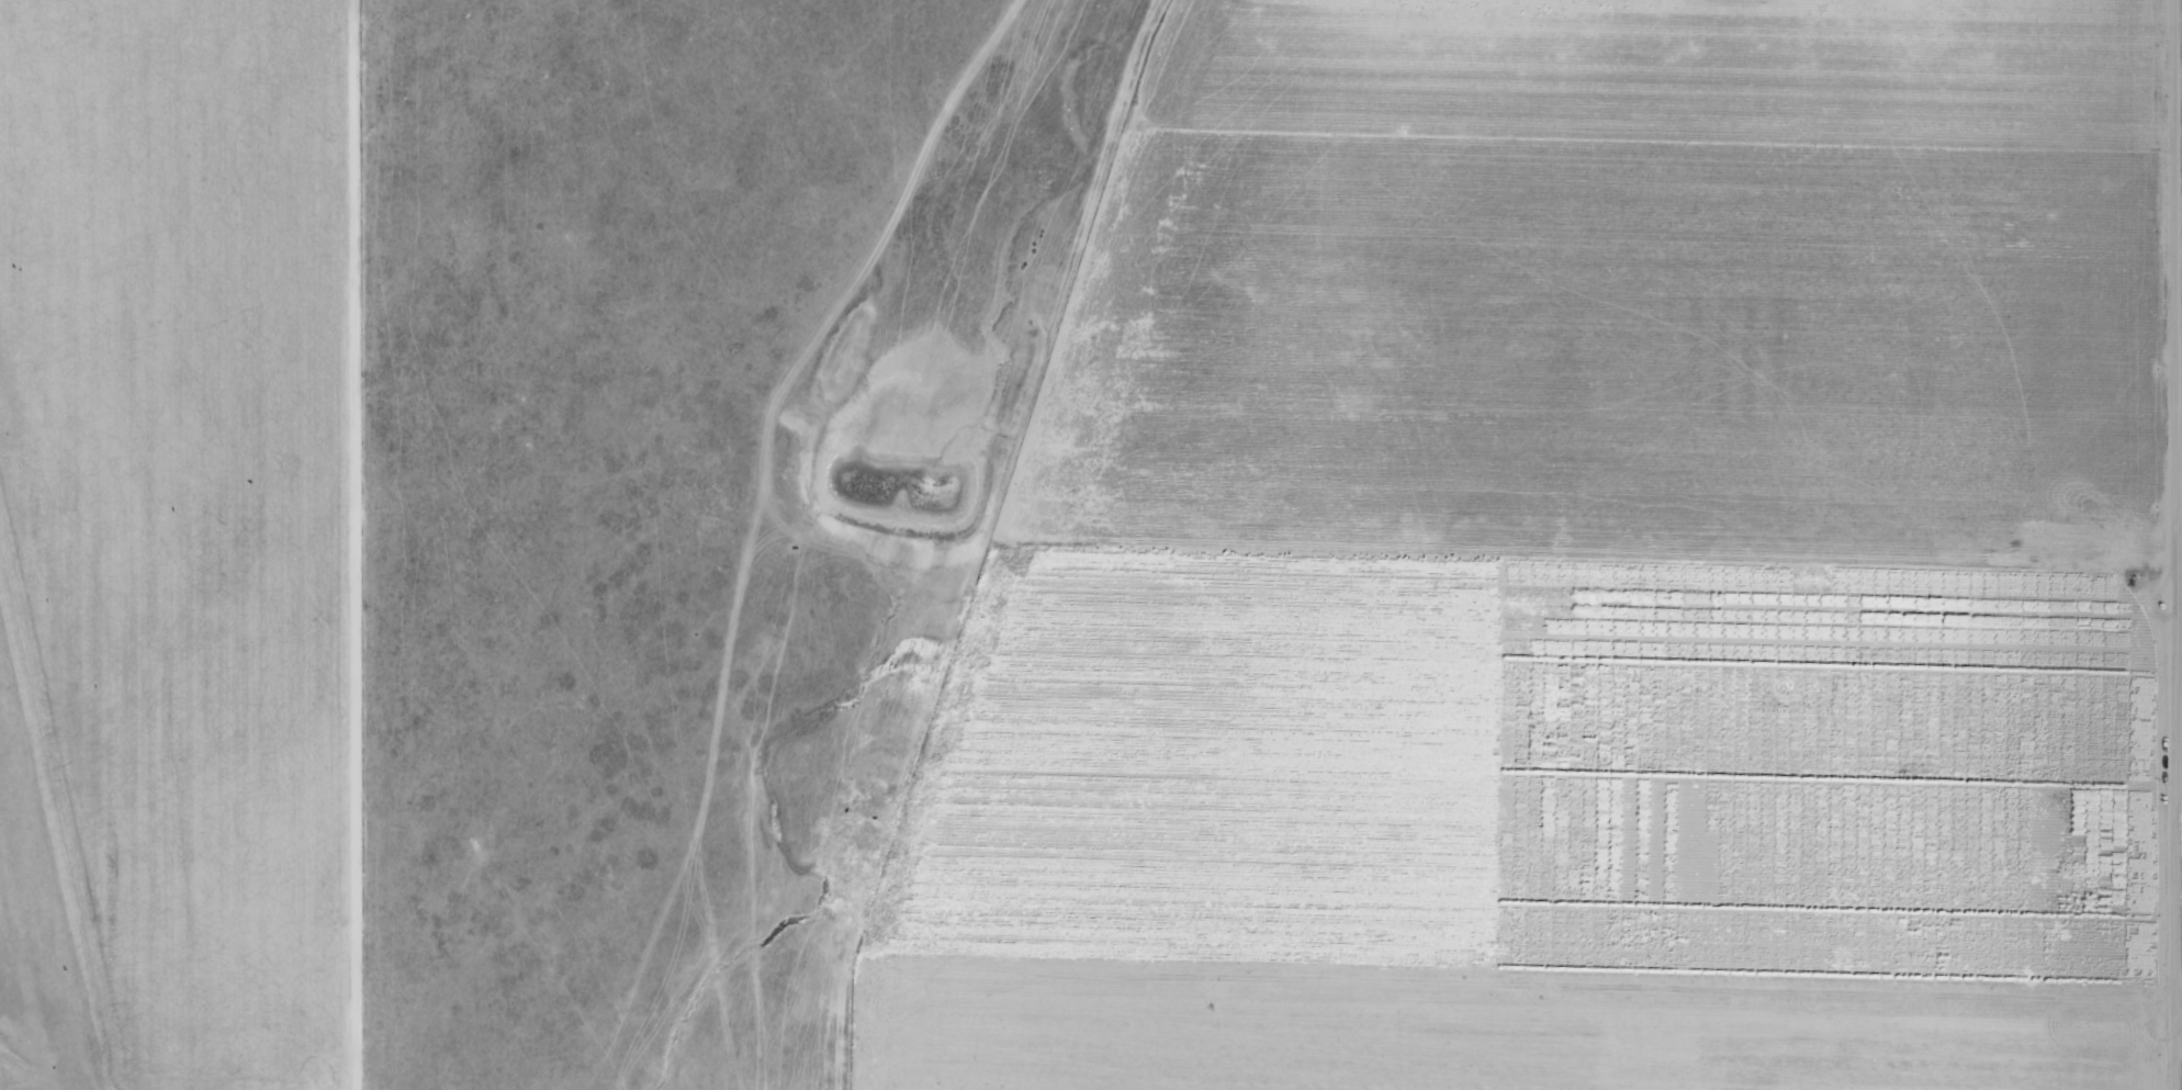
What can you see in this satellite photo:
road: (2173, 544)

